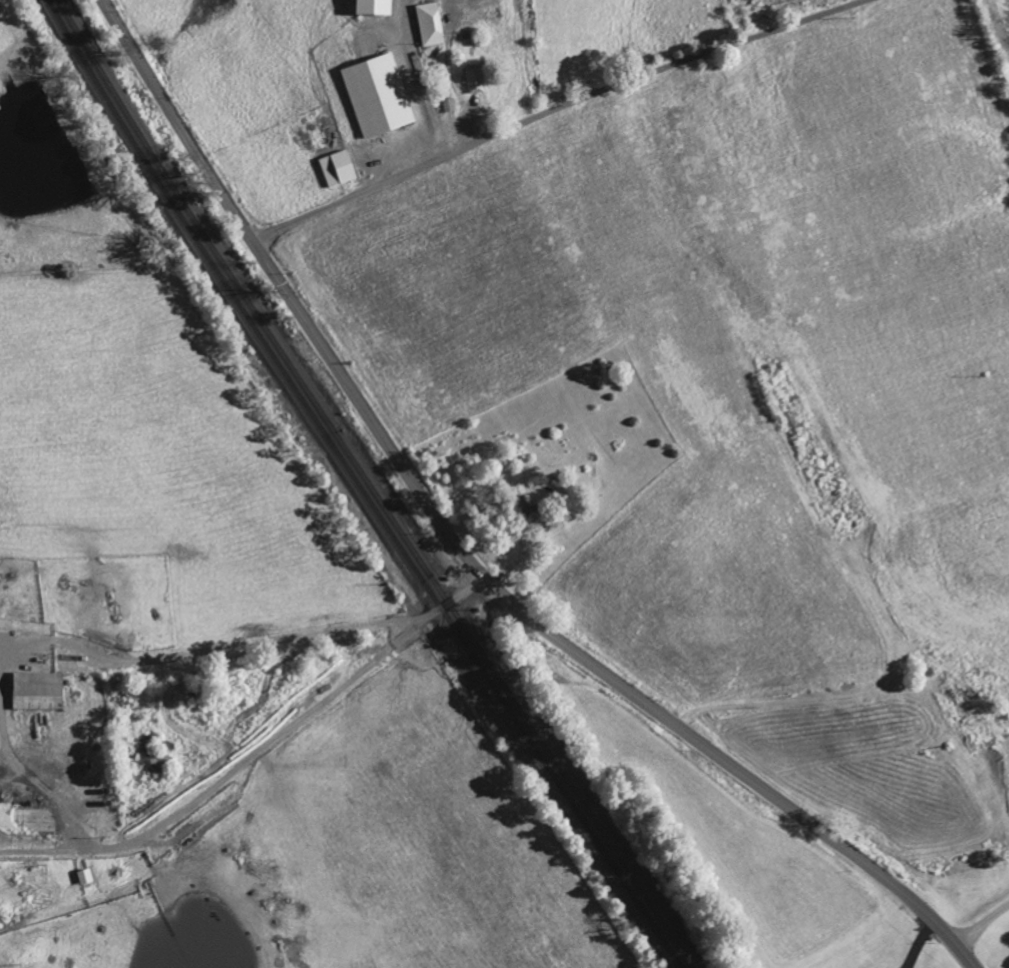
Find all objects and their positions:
building: (432, 23)
building: (475, 78)
building: (380, 95)
building: (450, 105)
road: (556, 108)
building: (346, 165)
railway: (341, 441)
railway: (332, 445)
road: (464, 555)
road: (246, 648)
building: (40, 691)
building: (153, 758)
building: (87, 877)
road: (981, 920)
railway: (662, 923)
railway: (654, 926)

